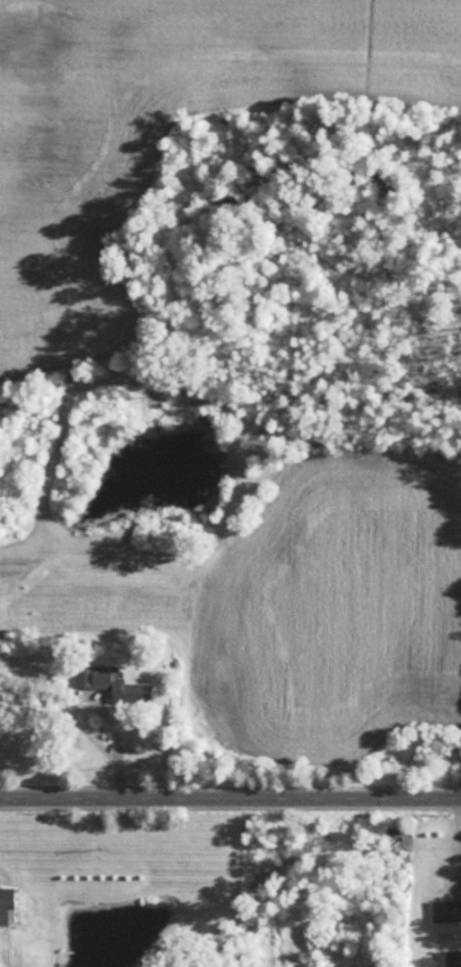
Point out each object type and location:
building: (110, 682)
road: (230, 793)
building: (5, 905)
building: (445, 910)
building: (452, 958)

